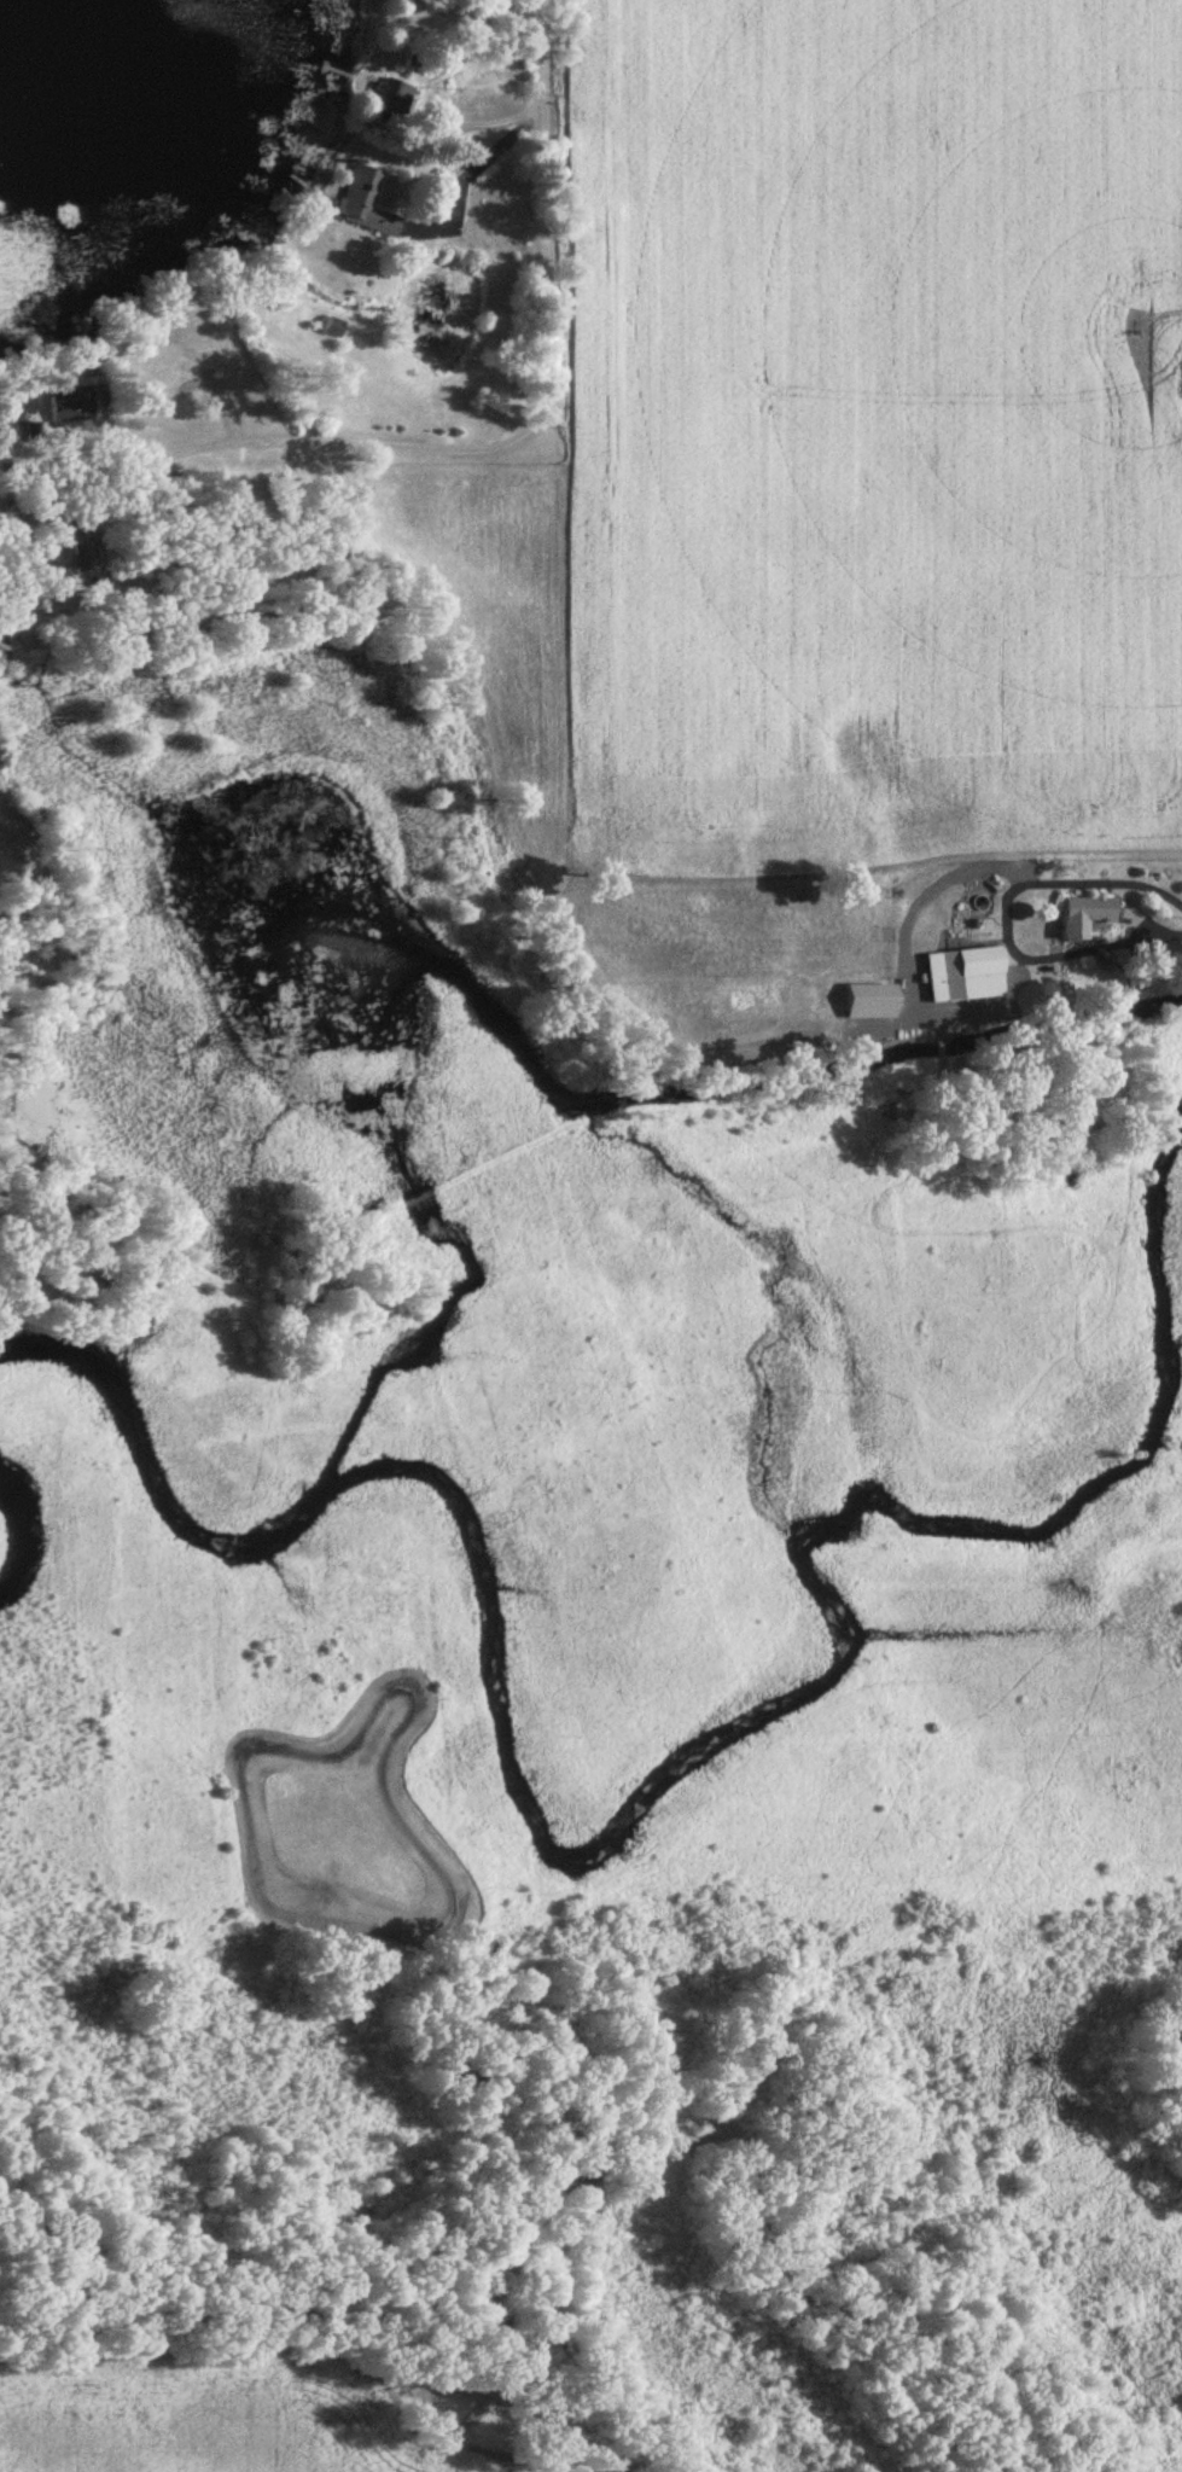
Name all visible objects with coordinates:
building: (367, 200)
building: (78, 403)
road: (522, 411)
building: (1072, 915)
building: (956, 976)
building: (863, 1002)

